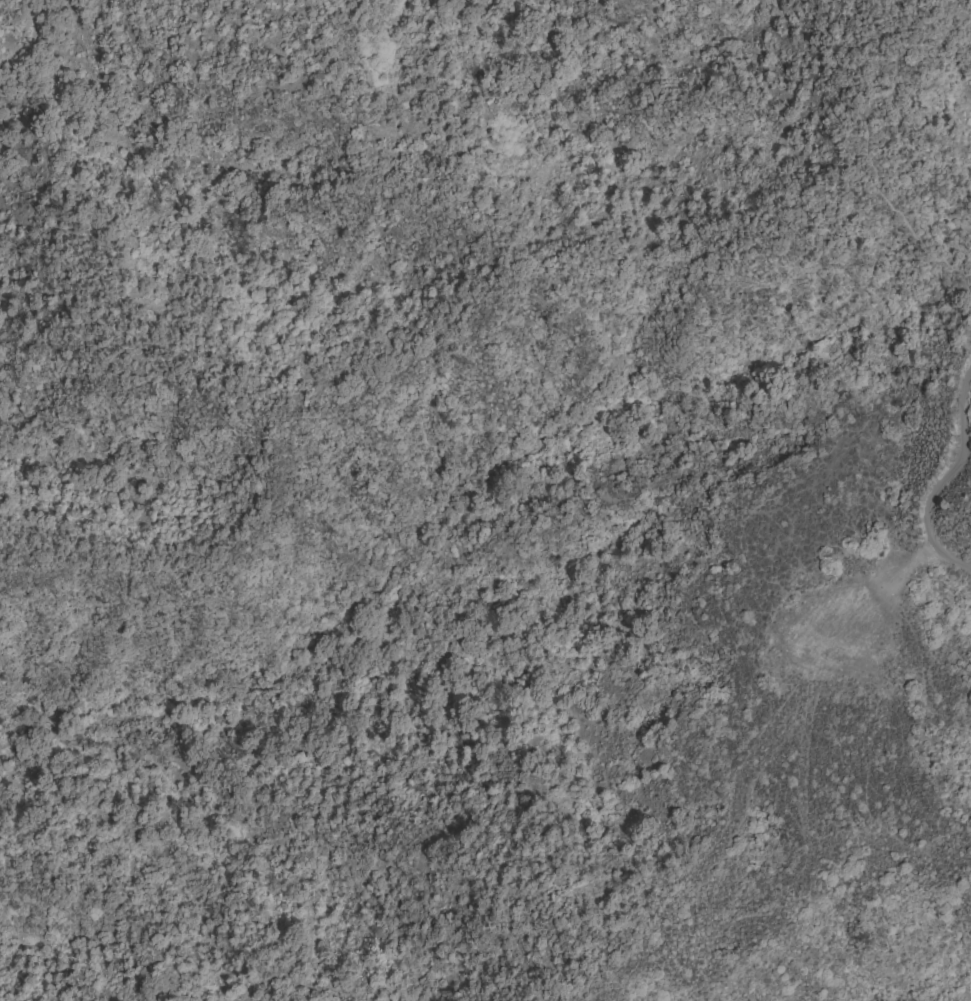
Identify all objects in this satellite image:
road: (867, 154)
road: (939, 482)

